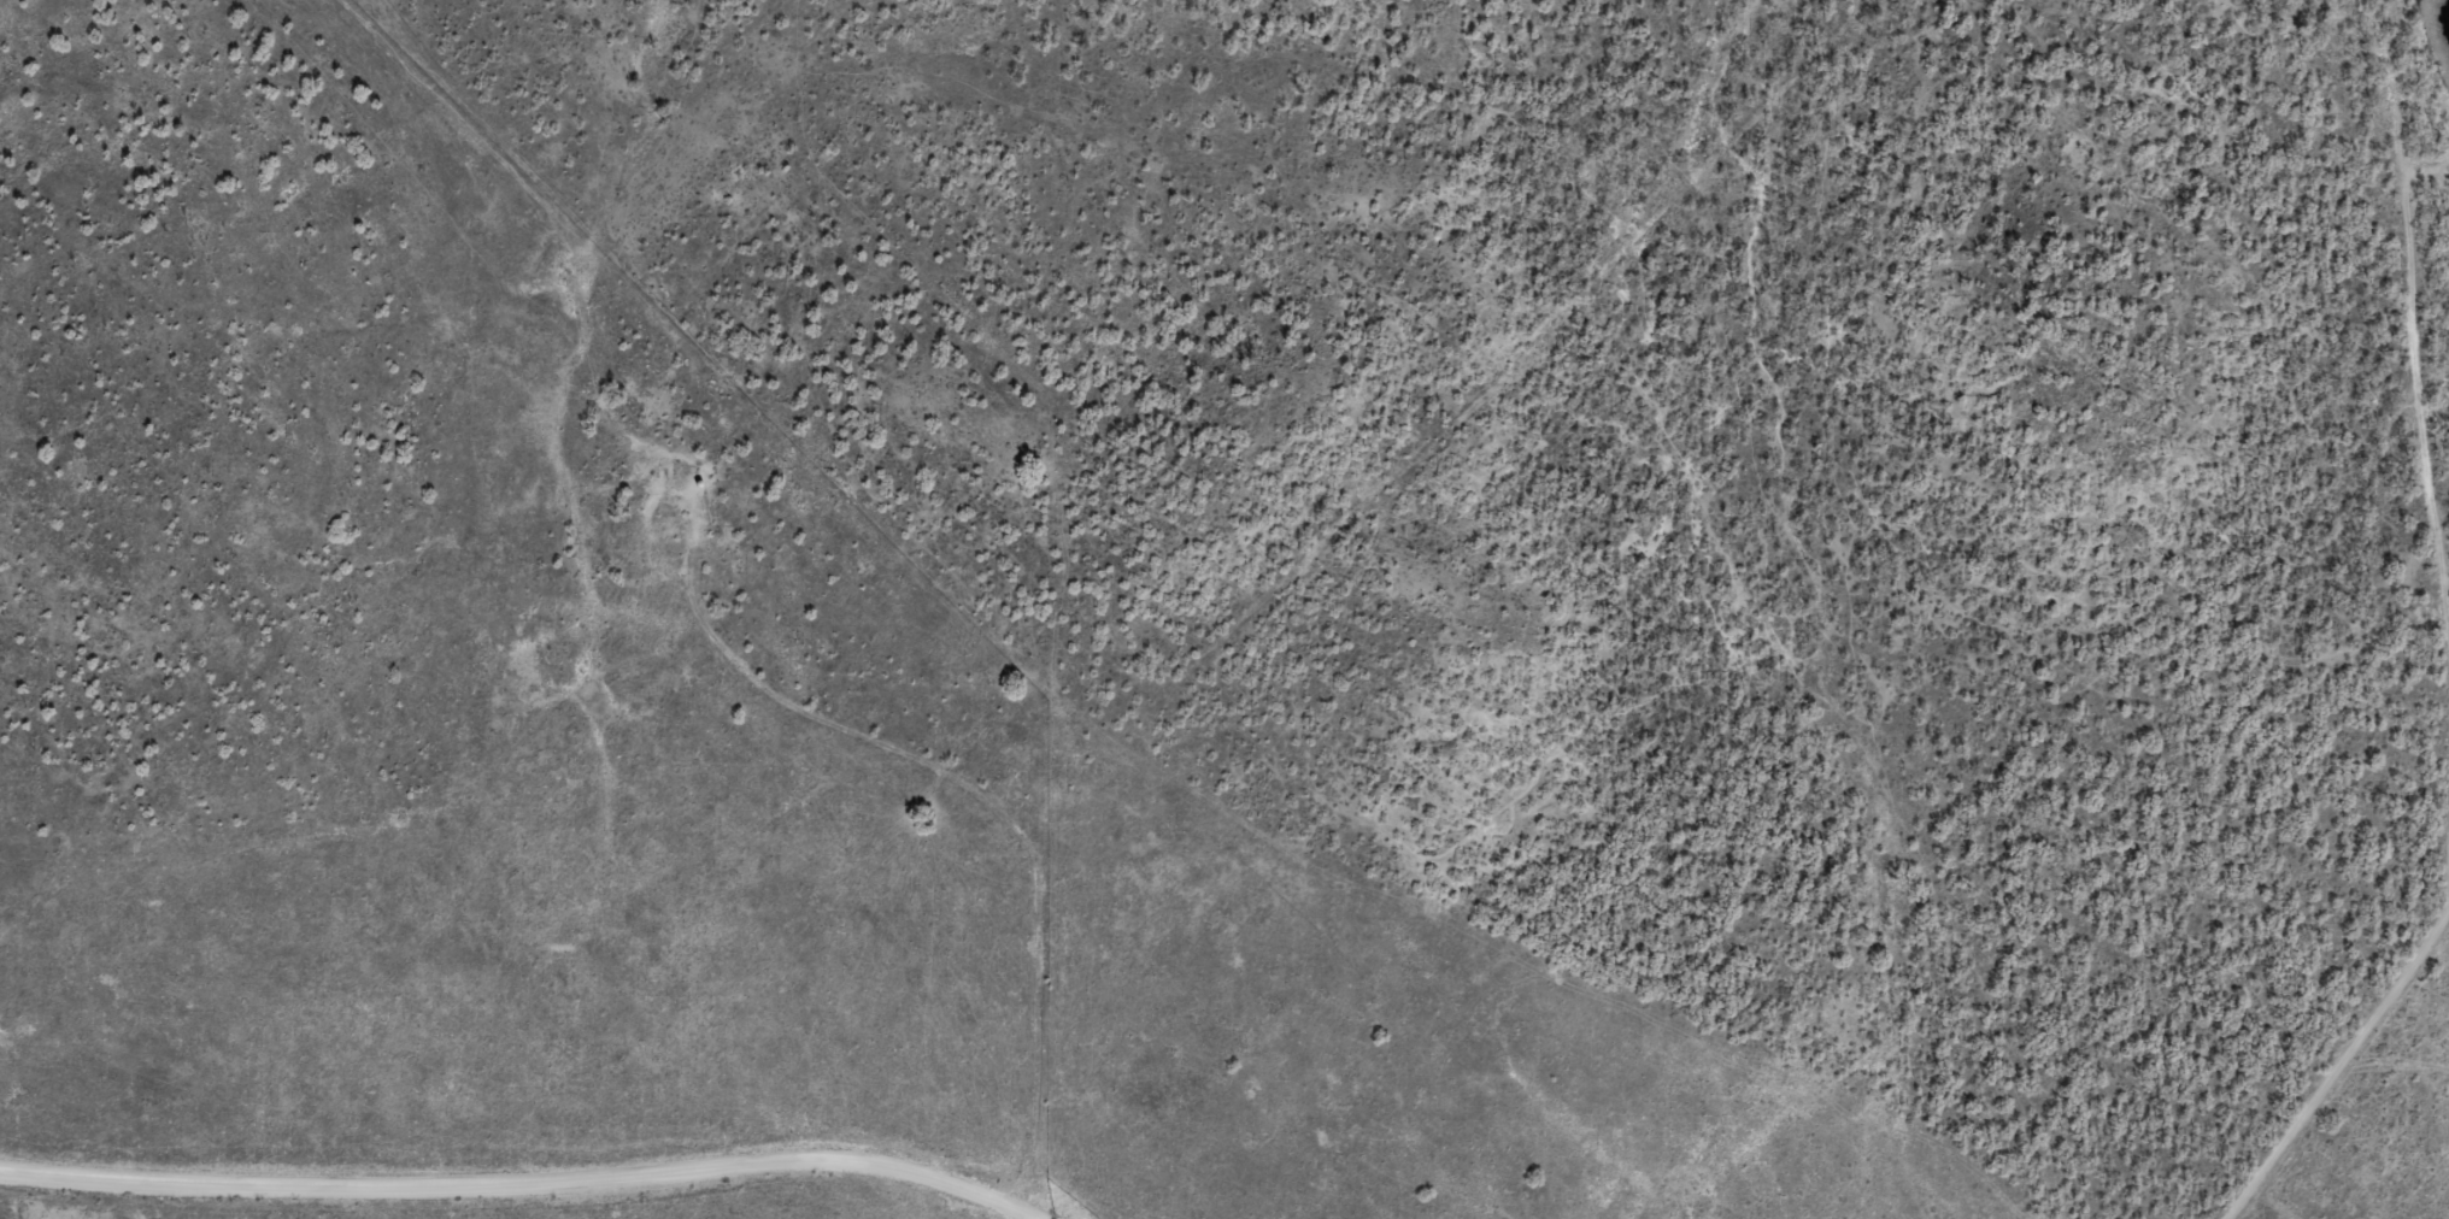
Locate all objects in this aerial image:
road: (2335, 1072)
road: (474, 1200)

